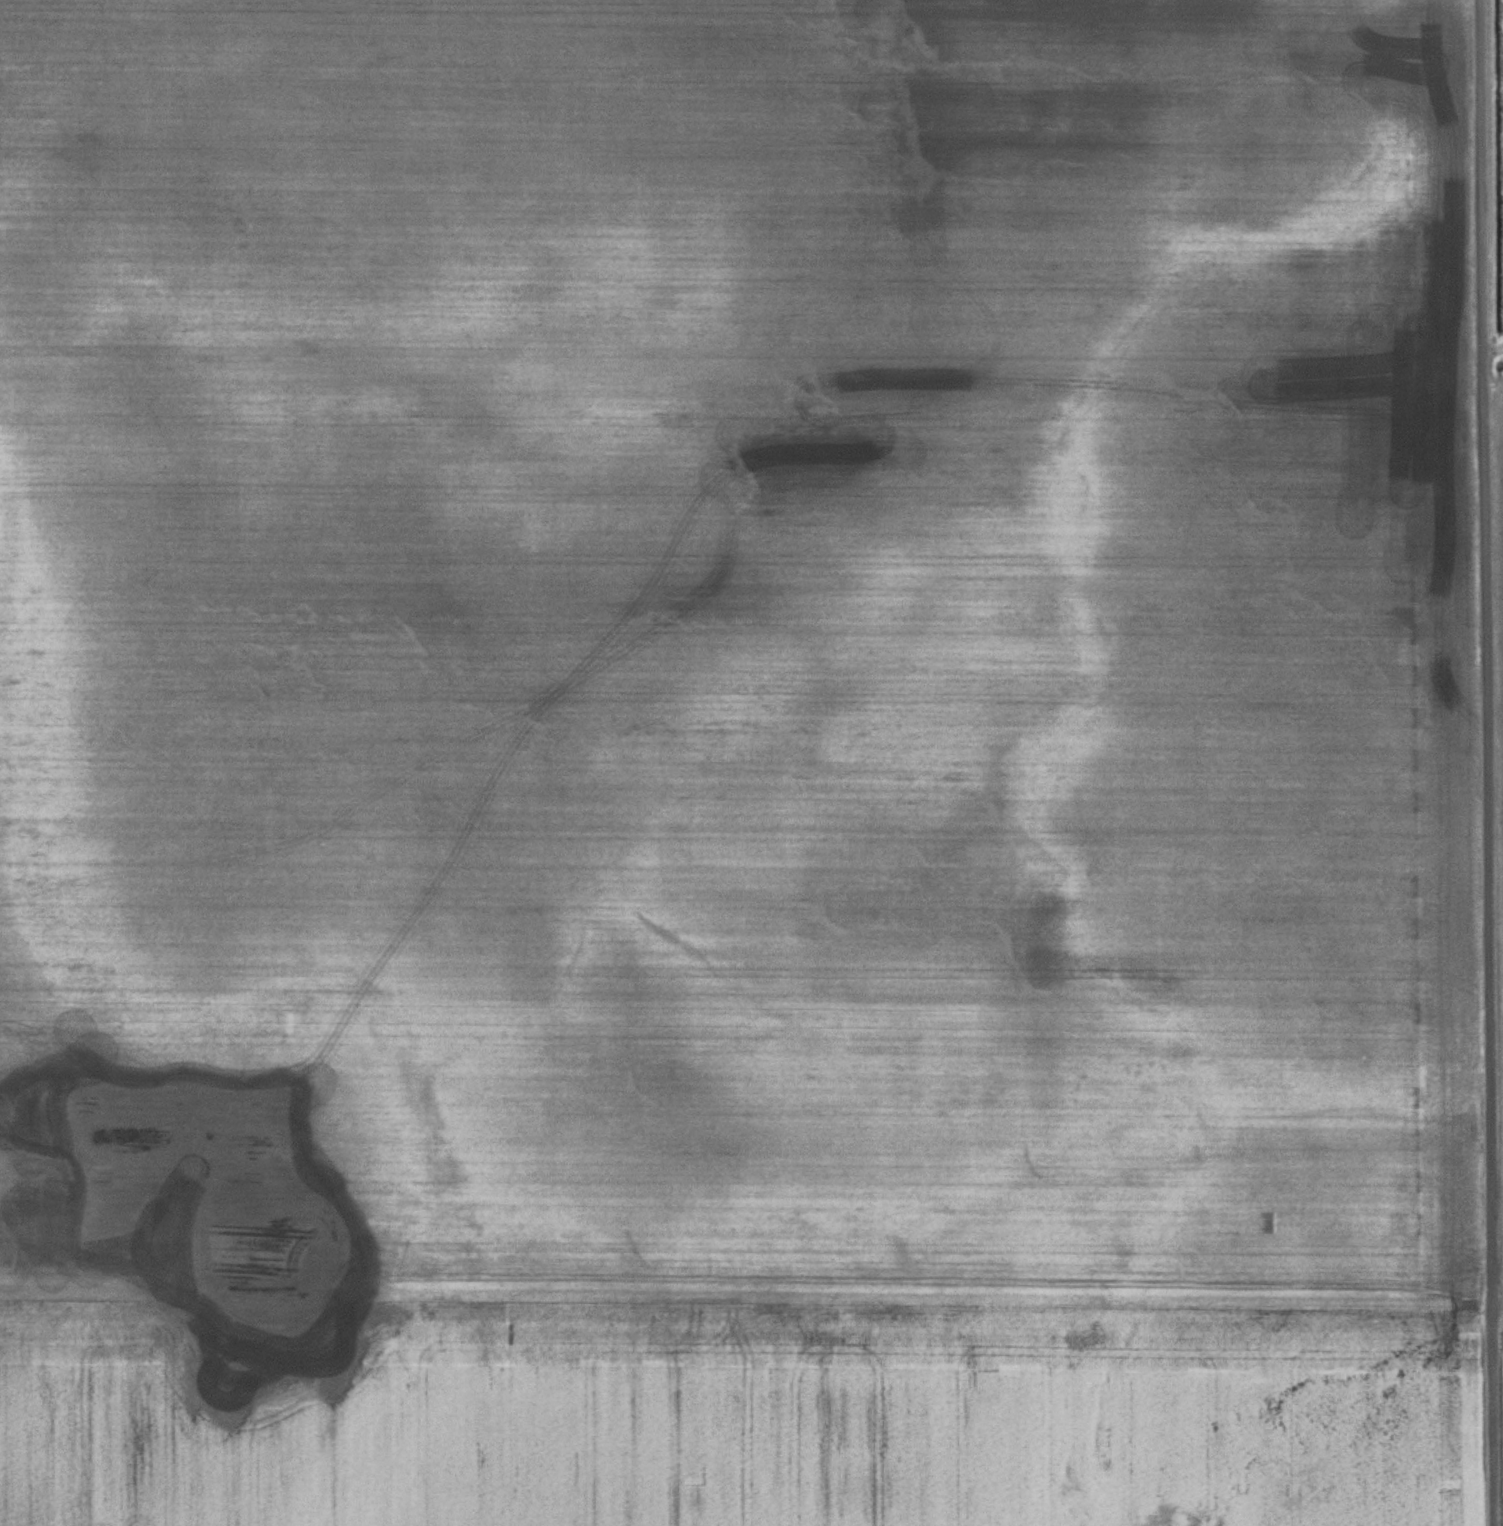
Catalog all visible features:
road: (1489, 762)
crop: (738, 764)
crop: (1502, 1220)

